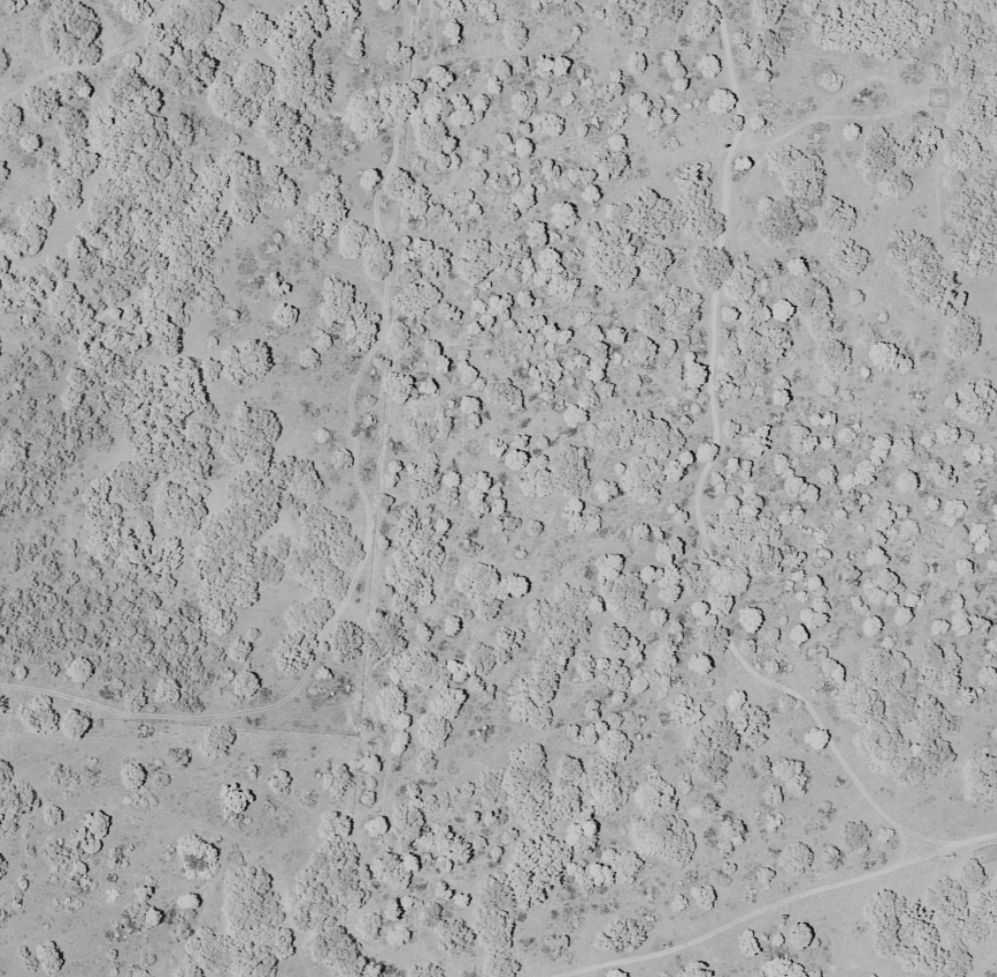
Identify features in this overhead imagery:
road: (100, 69)
power tower: (947, 856)
road: (828, 929)
power tower: (664, 944)

